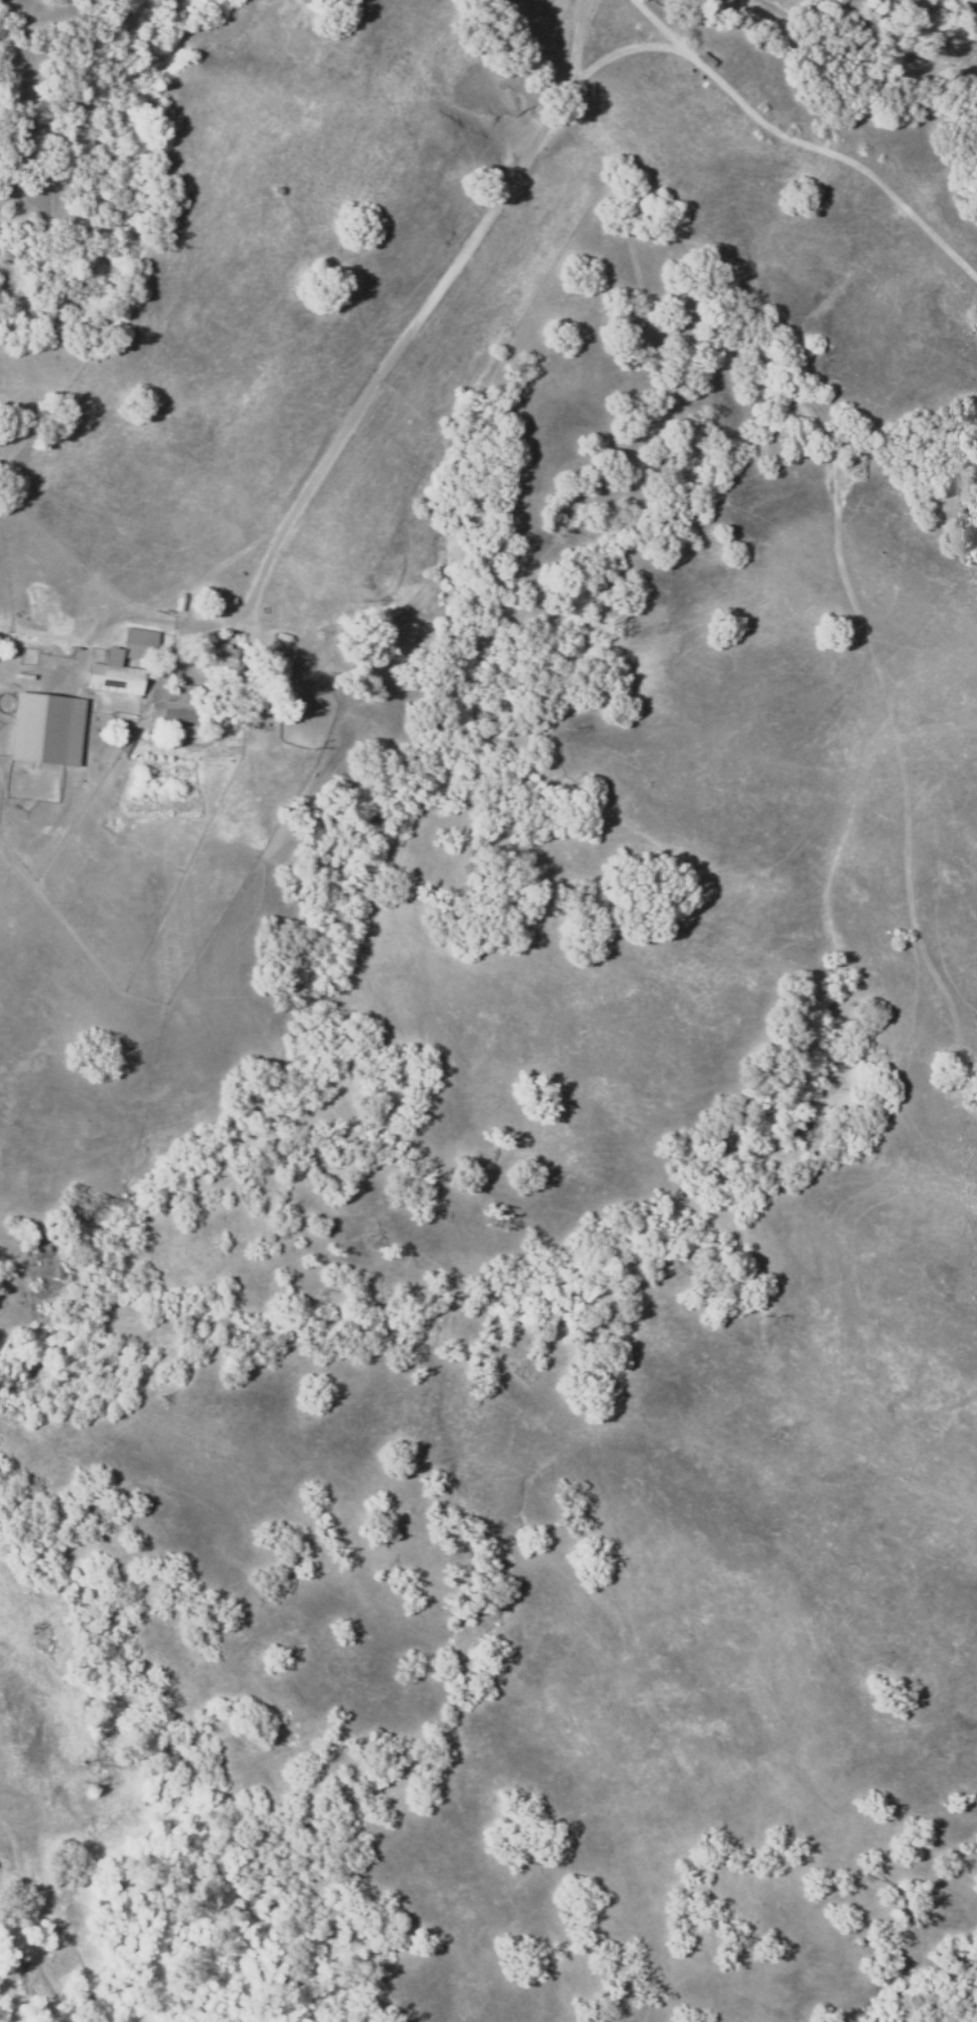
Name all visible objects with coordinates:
road: (873, 70)
building: (277, 190)
road: (604, 590)
building: (282, 636)
building: (139, 641)
building: (277, 657)
building: (229, 661)
building: (112, 671)
building: (185, 707)
building: (45, 730)
building: (183, 733)
building: (122, 746)

